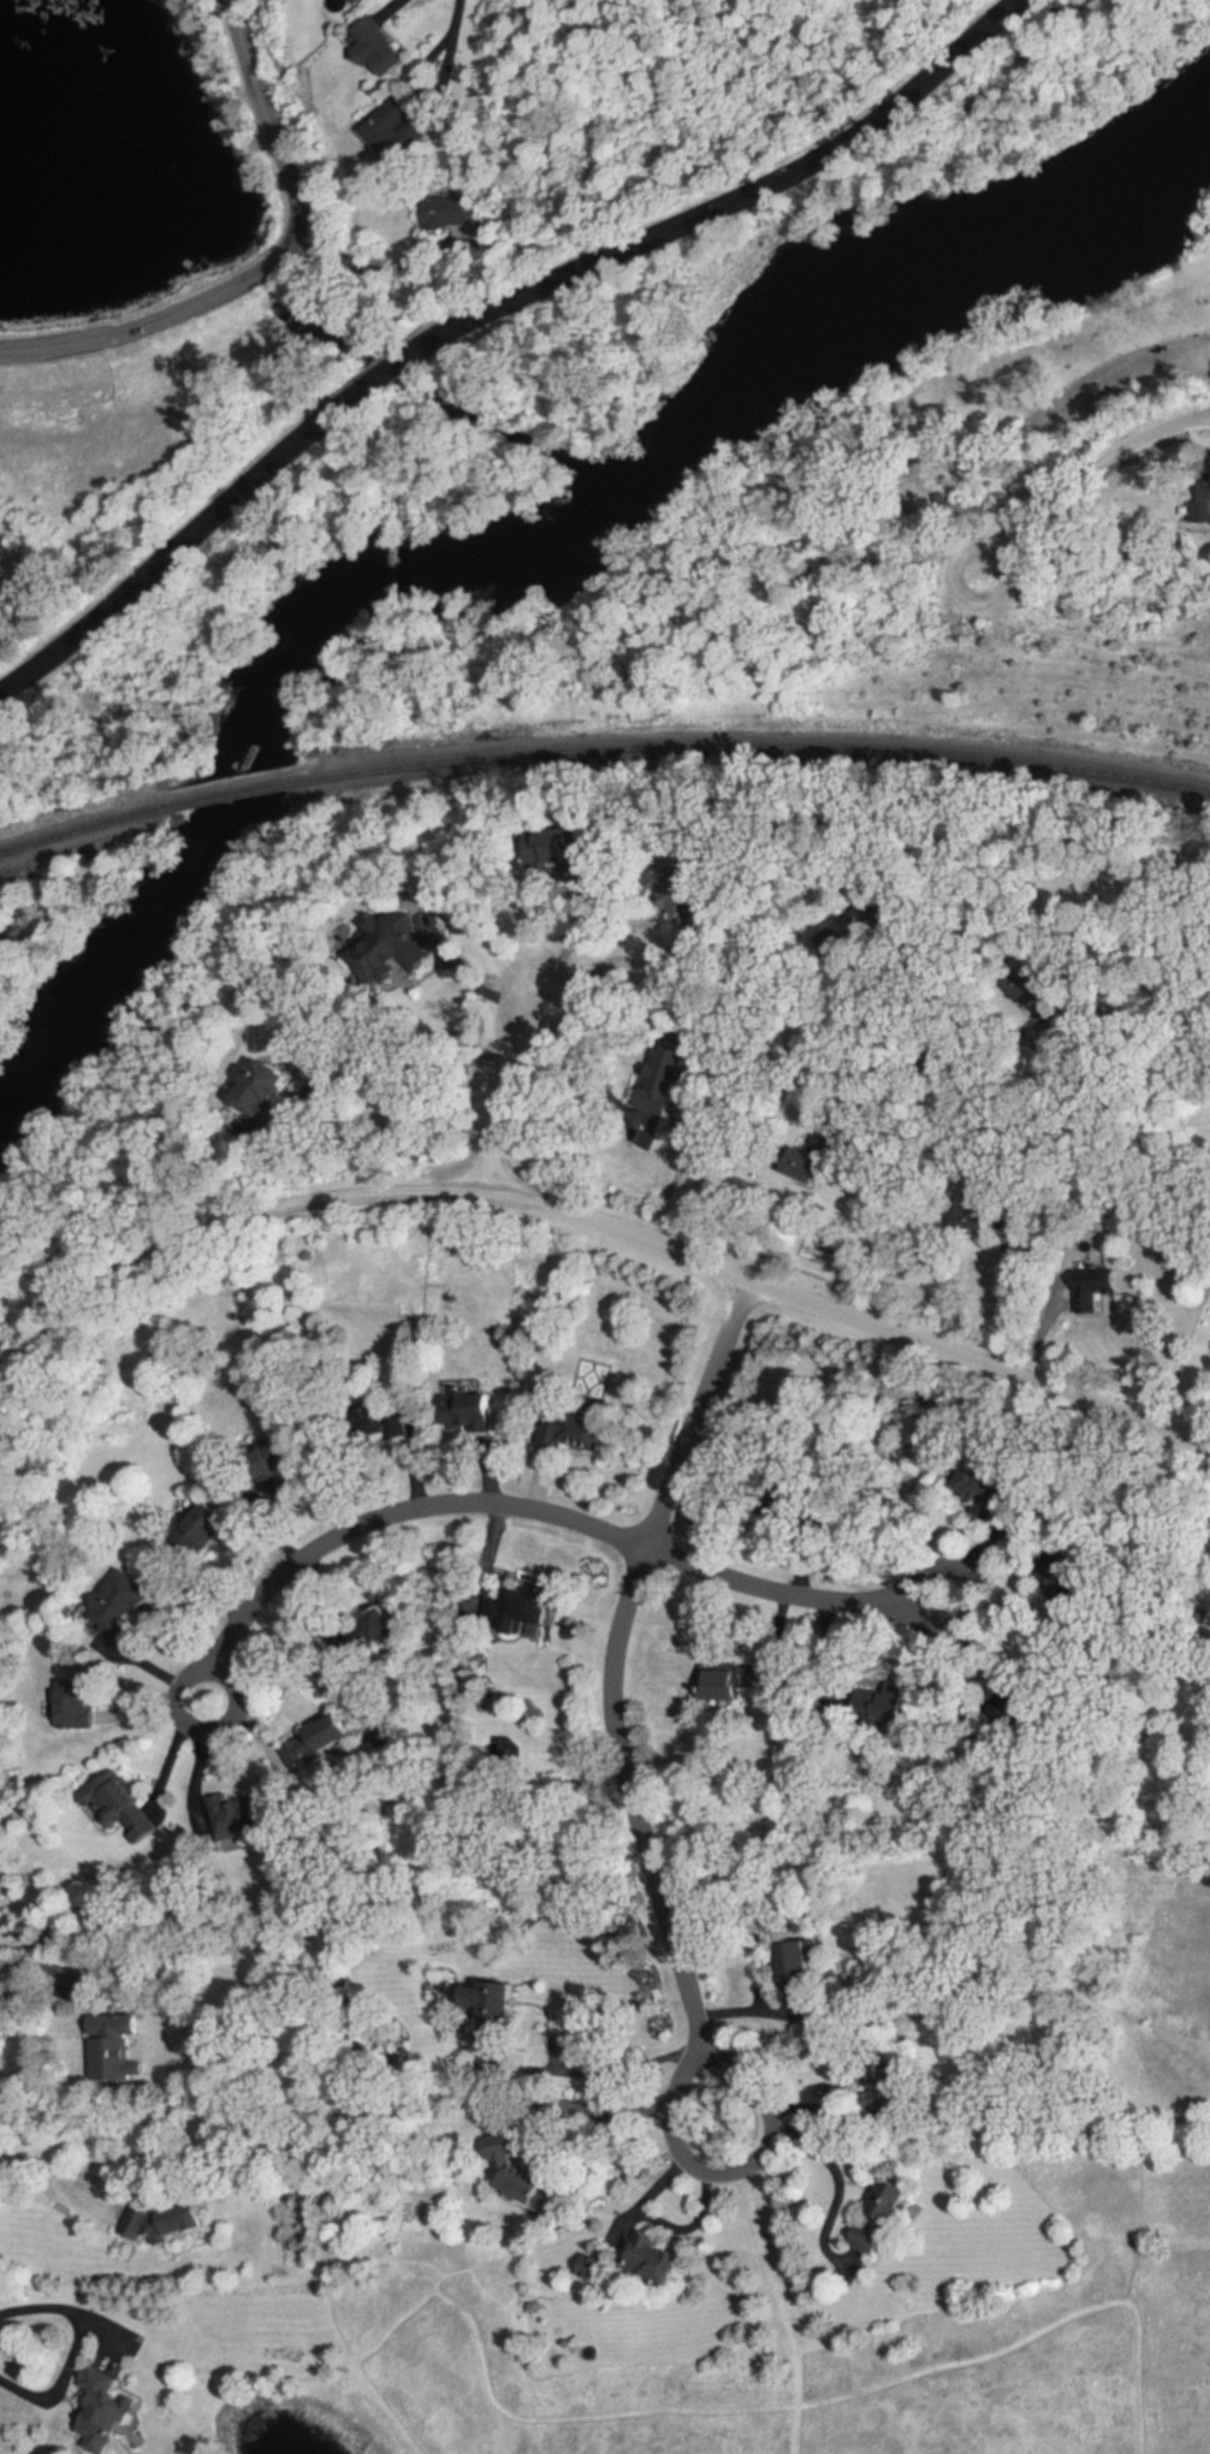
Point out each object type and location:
road: (451, 34)
building: (378, 47)
building: (450, 213)
road: (267, 266)
road: (360, 268)
road: (485, 309)
road: (1208, 355)
road: (1032, 363)
road: (1127, 364)
parking lot: (1110, 385)
park: (668, 437)
road: (1104, 457)
river: (528, 562)
road: (950, 606)
railway: (752, 747)
railway: (230, 796)
railway: (82, 829)
building: (563, 847)
road: (574, 939)
road: (615, 961)
road: (475, 973)
road: (925, 1001)
road: (381, 1068)
road: (577, 1069)
road: (499, 1089)
road: (879, 1184)
road: (589, 1214)
building: (1095, 1287)
road: (1012, 1300)
building: (581, 1431)
building: (273, 1468)
road: (541, 1510)
building: (202, 1529)
road: (937, 1557)
building: (517, 1611)
building: (117, 1613)
building: (725, 1682)
road: (613, 1689)
road: (238, 1701)
building: (77, 1705)
building: (1007, 1706)
building: (314, 1743)
building: (795, 1966)
road: (47, 1968)
building: (494, 2010)
building: (111, 2046)
road: (612, 2068)
road: (782, 2099)
road: (597, 2116)
road: (824, 2150)
road: (666, 2169)
building: (528, 2191)
road: (705, 2199)
building: (883, 2219)
building: (167, 2224)
building: (652, 2258)
road: (75, 2351)
building: (108, 2408)

